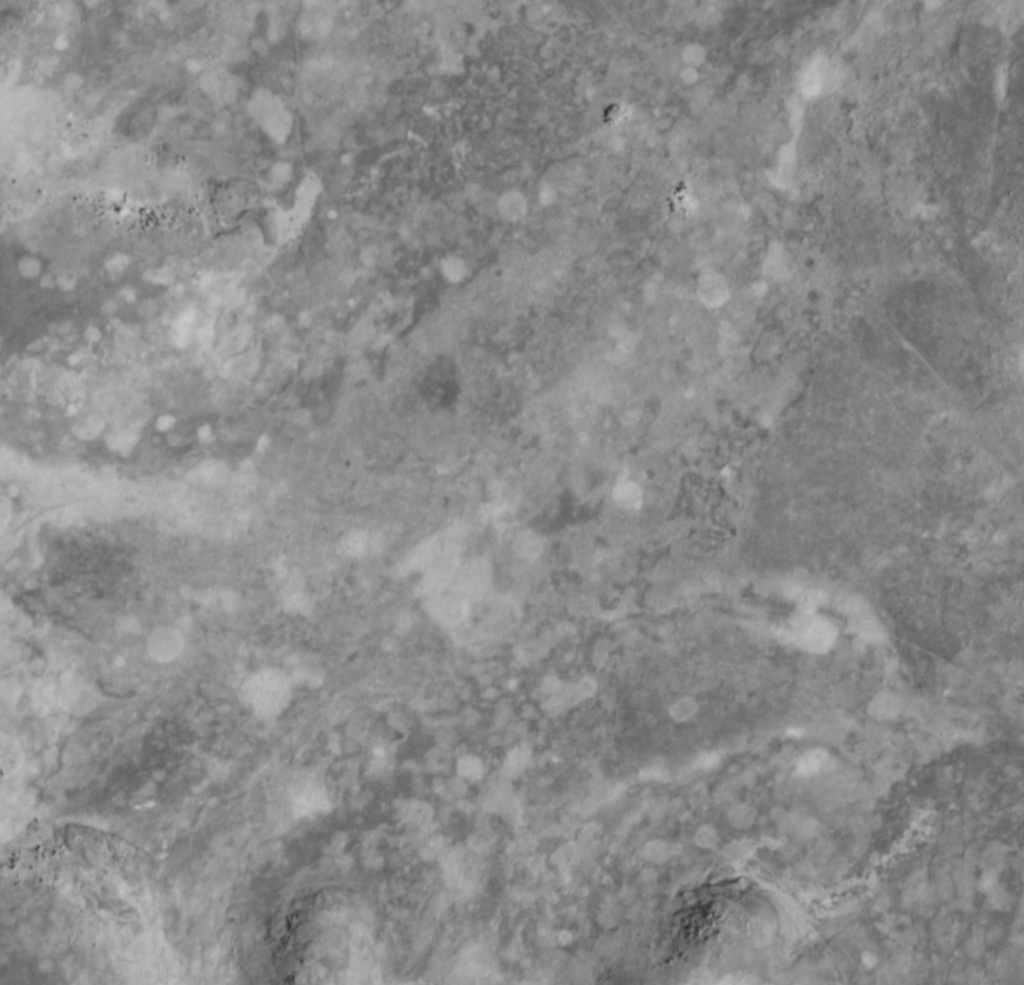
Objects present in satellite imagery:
road: (814, 241)

